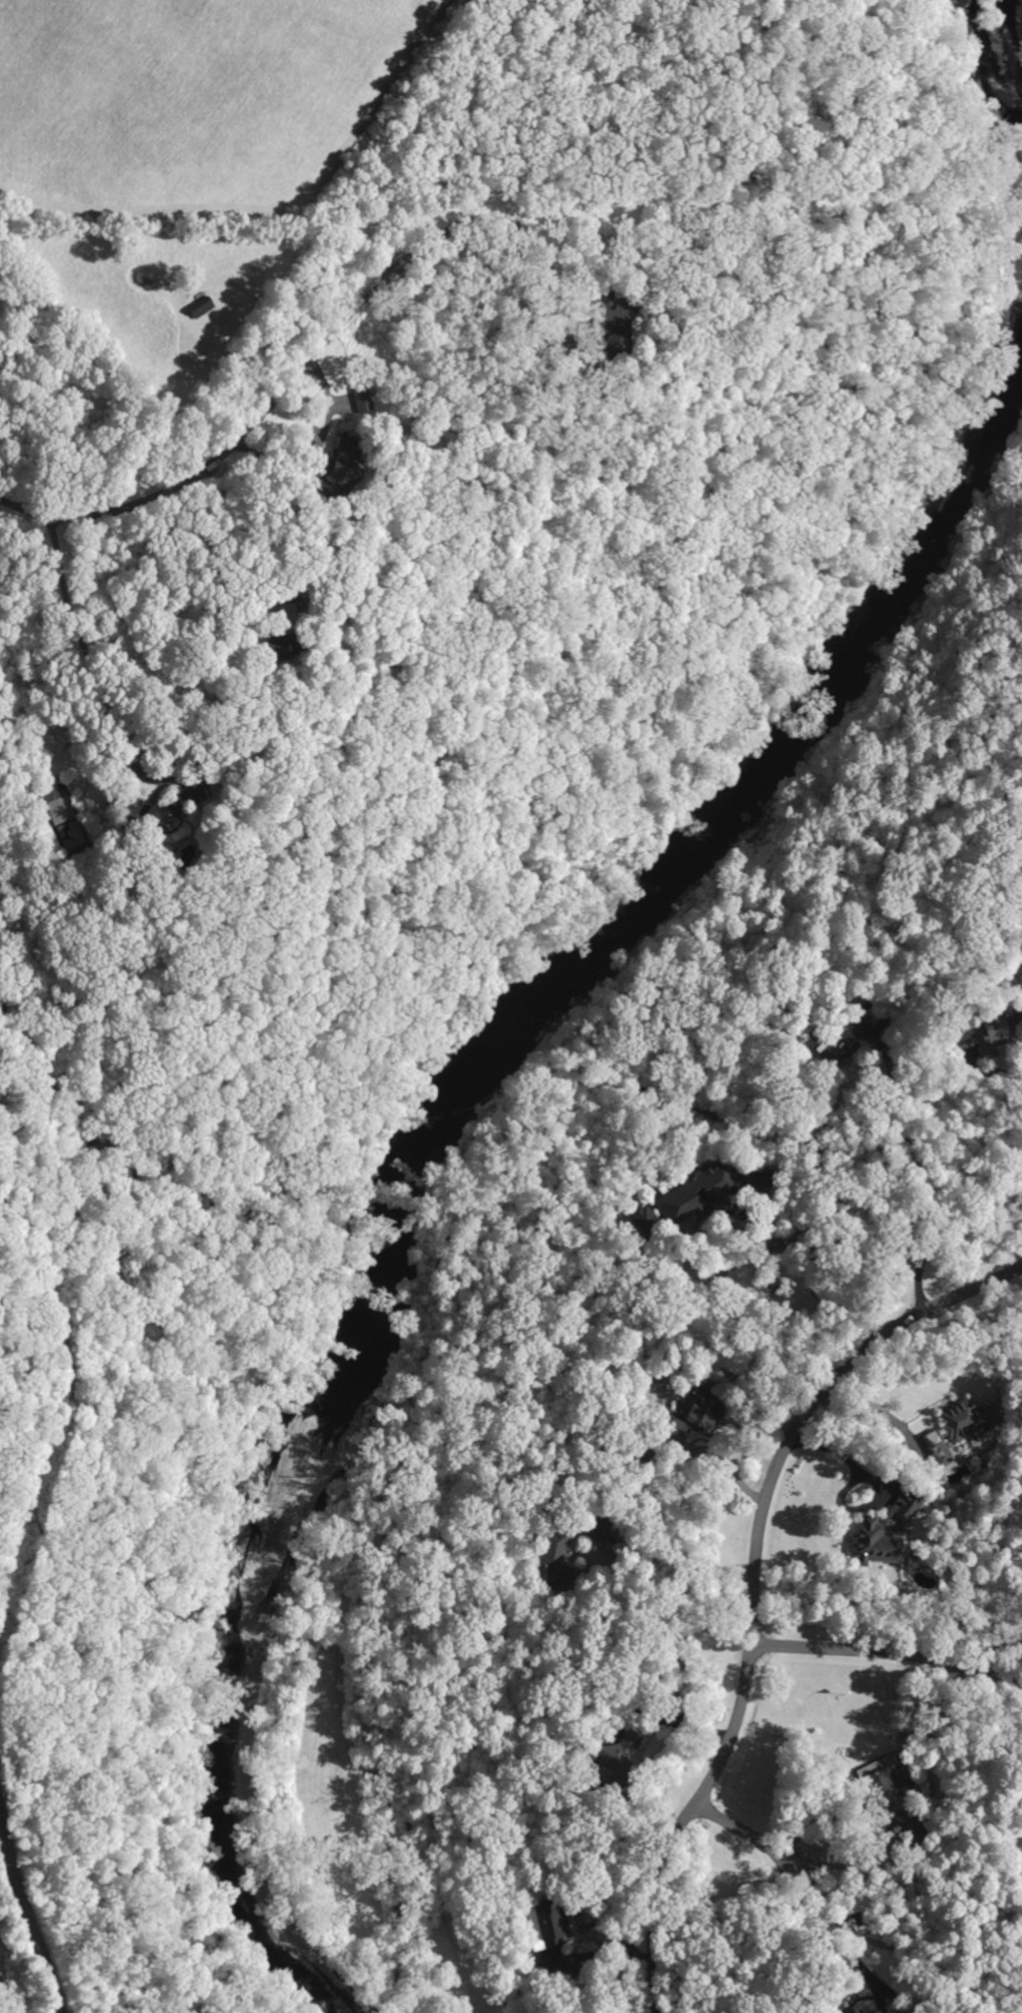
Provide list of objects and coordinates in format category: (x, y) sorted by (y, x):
river: (1015, 34)
road: (527, 230)
building: (613, 318)
building: (358, 397)
road: (247, 432)
road: (223, 578)
road: (92, 665)
building: (146, 811)
building: (989, 1028)
building: (837, 1037)
road: (994, 1072)
river: (428, 1126)
road: (923, 1179)
building: (691, 1192)
building: (638, 1218)
road: (778, 1248)
building: (691, 1414)
building: (955, 1424)
road: (901, 1465)
building: (595, 1528)
building: (878, 1532)
building: (552, 1555)
road: (695, 1565)
road: (755, 1587)
road: (890, 1651)
building: (610, 1755)
building: (883, 1794)
road: (754, 1836)
road: (27, 1920)
road: (845, 1926)
building: (546, 1930)
road: (894, 1995)
road: (6, 1996)
road: (880, 1998)
building: (849, 2010)
building: (862, 2012)

